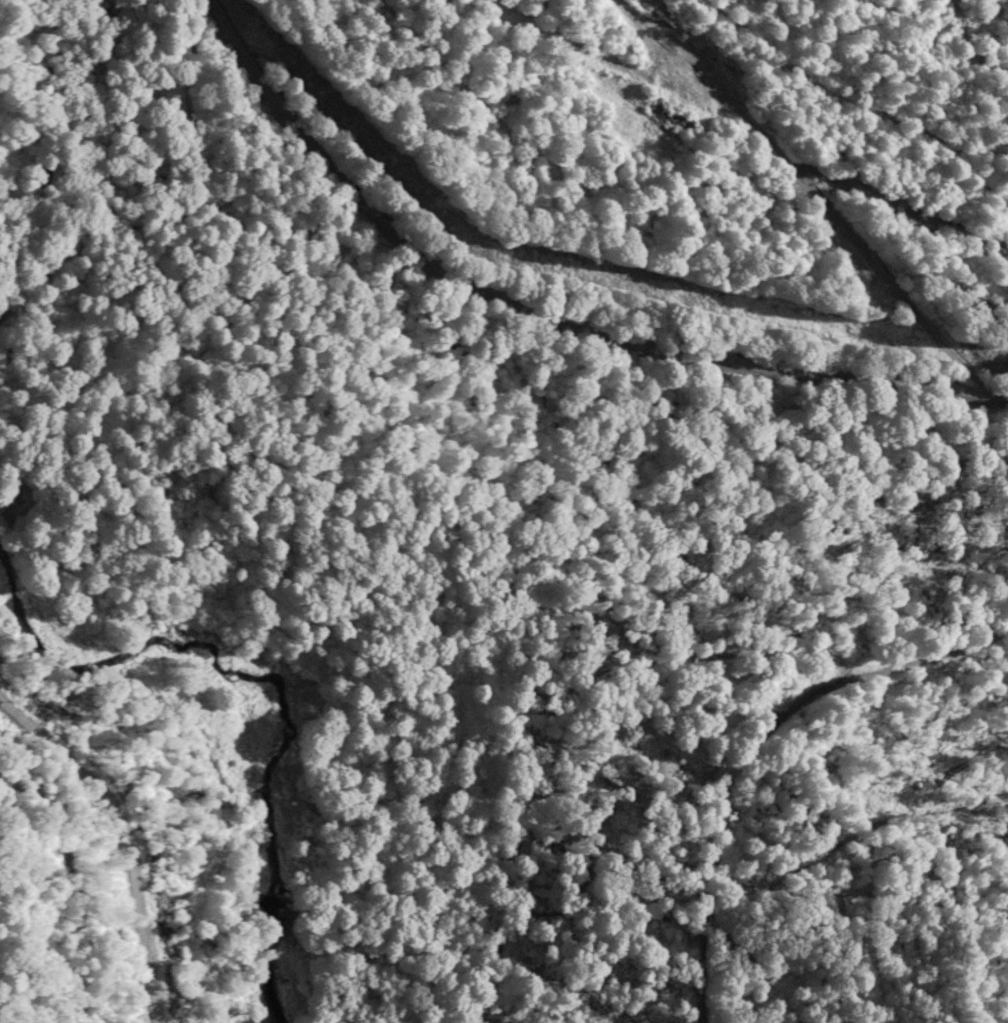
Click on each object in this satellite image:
road: (547, 312)
railway: (581, 604)
railway: (742, 746)
railway: (116, 834)

